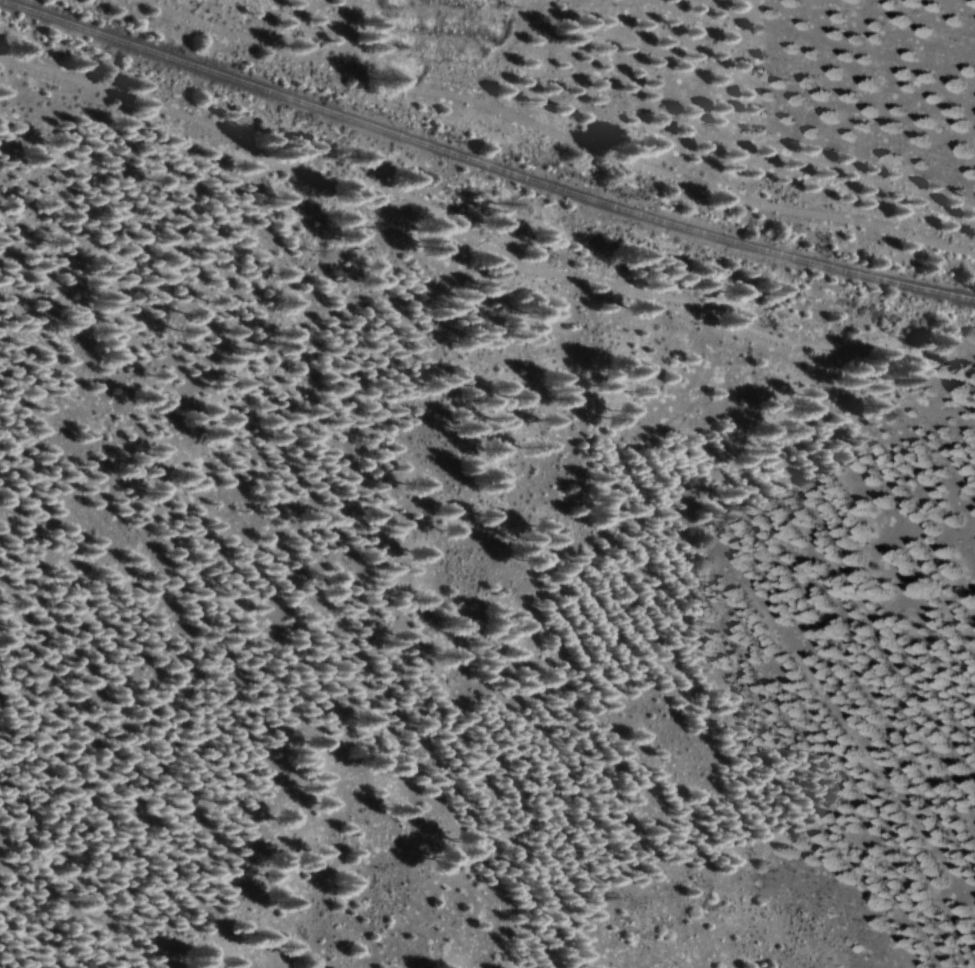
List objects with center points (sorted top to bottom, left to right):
railway: (483, 165)

